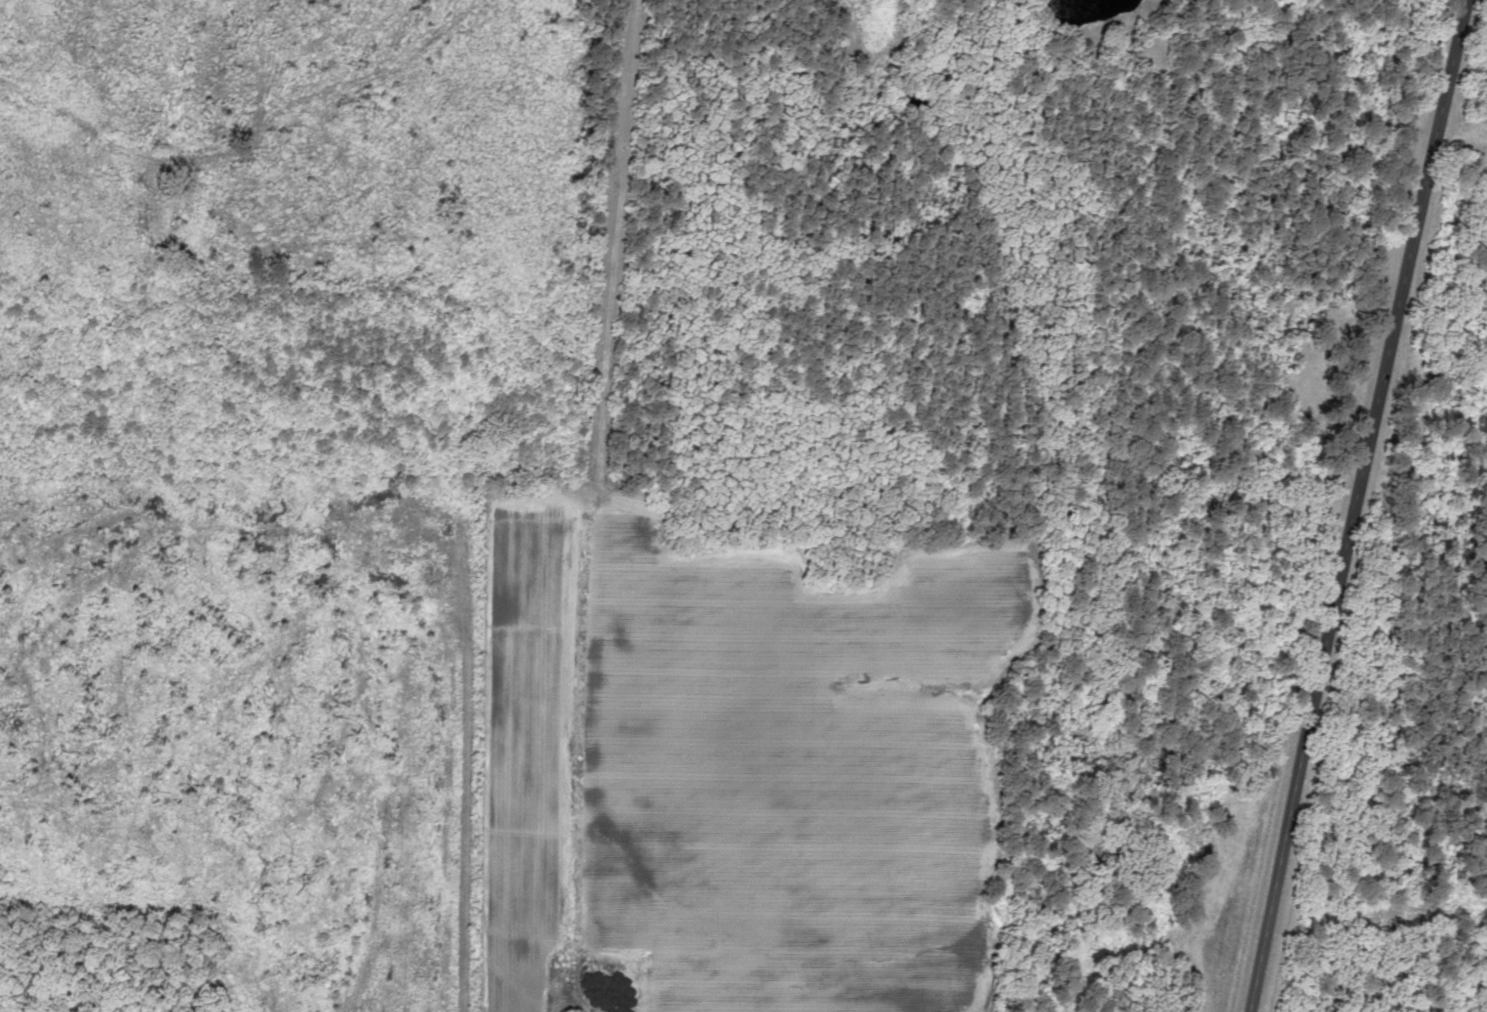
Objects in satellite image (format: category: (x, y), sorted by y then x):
road: (1353, 506)
road: (1477, 988)

